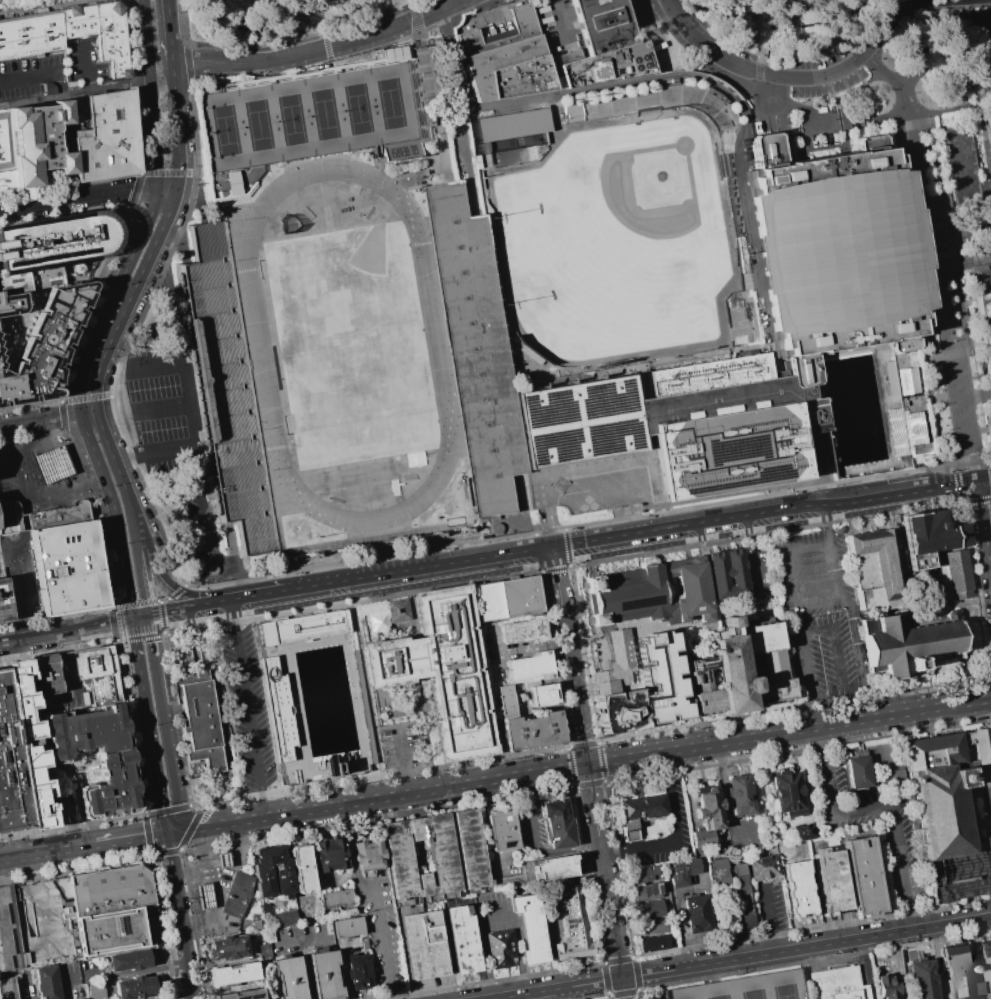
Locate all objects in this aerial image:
road: (921, 1)
road: (647, 3)
road: (907, 7)
road: (413, 9)
road: (427, 13)
road: (562, 20)
road: (885, 21)
road: (916, 21)
road: (169, 27)
building: (982, 30)
building: (100, 32)
road: (918, 34)
building: (30, 35)
building: (608, 44)
road: (286, 58)
building: (506, 60)
parking lot: (82, 62)
road: (86, 65)
parking lot: (815, 67)
road: (924, 67)
road: (159, 71)
road: (760, 72)
parking lot: (30, 78)
road: (38, 78)
road: (895, 80)
road: (774, 87)
road: (955, 88)
road: (73, 91)
road: (430, 93)
road: (150, 95)
road: (60, 98)
park: (389, 103)
building: (652, 105)
park: (357, 108)
road: (988, 108)
road: (760, 109)
road: (807, 109)
road: (61, 114)
park: (323, 114)
building: (417, 115)
road: (912, 115)
park: (290, 119)
building: (513, 124)
park: (257, 125)
parking lot: (812, 128)
road: (988, 128)
park: (224, 130)
road: (63, 138)
building: (104, 138)
building: (38, 143)
building: (6, 155)
road: (50, 156)
building: (475, 161)
road: (412, 171)
building: (968, 178)
building: (232, 183)
road: (51, 184)
road: (165, 192)
road: (77, 197)
road: (746, 233)
road: (964, 233)
road: (157, 238)
park: (617, 241)
rooftop solar panel: (83, 248)
rooftop solar panel: (90, 248)
building: (49, 250)
rooftop solar panel: (77, 250)
rooftop solar panel: (70, 251)
rooftop solar panel: (61, 252)
building: (836, 252)
rooftop solar panel: (52, 254)
rooftop solar panel: (37, 255)
rooftop solar panel: (46, 255)
rooftop solar panel: (30, 258)
rooftop solar panel: (22, 259)
rooftop solar panel: (15, 260)
rooftop solar panel: (7, 262)
road: (946, 299)
road: (111, 301)
building: (10, 304)
building: (983, 311)
building: (18, 327)
building: (44, 345)
track: (264, 345)
park: (351, 345)
building: (475, 345)
road: (773, 358)
building: (0, 364)
stadium: (348, 364)
building: (227, 389)
rooftop solar panel: (599, 403)
rooftop solar panel: (549, 411)
building: (888, 411)
road: (89, 413)
parking lot: (162, 414)
road: (40, 420)
building: (577, 420)
building: (730, 426)
road: (988, 429)
road: (973, 432)
rooftop solar panel: (601, 436)
rooftop solar panel: (749, 443)
rooftop solar panel: (559, 445)
rooftop solar panel: (722, 449)
road: (818, 461)
road: (117, 467)
road: (653, 469)
rooftop solar panel: (764, 470)
road: (906, 472)
road: (989, 472)
rooftop solar panel: (348, 473)
road: (197, 482)
road: (983, 482)
road: (956, 483)
rooftop solar panel: (714, 484)
traffic signals: (976, 484)
road: (106, 485)
rooftop solar panel: (396, 492)
parking lot: (594, 492)
road: (740, 492)
road: (868, 497)
road: (977, 500)
road: (649, 505)
building: (34, 512)
road: (708, 517)
road: (617, 518)
road: (825, 522)
road: (547, 524)
road: (983, 528)
road: (766, 533)
building: (930, 535)
road: (478, 557)
road: (549, 562)
building: (67, 566)
road: (141, 568)
road: (553, 568)
building: (875, 569)
road: (124, 570)
building: (212, 570)
building: (728, 572)
parking lot: (759, 572)
building: (956, 572)
parking lot: (813, 574)
road: (240, 580)
road: (172, 587)
road: (241, 589)
road: (977, 590)
road: (273, 592)
building: (650, 593)
road: (128, 598)
building: (508, 599)
building: (4, 601)
road: (215, 601)
road: (351, 601)
road: (800, 601)
road: (145, 602)
rooftop solar panel: (436, 602)
rooftop solar panel: (637, 602)
road: (167, 608)
building: (396, 611)
traffic signals: (149, 612)
road: (140, 613)
road: (232, 614)
traffic signals: (131, 615)
road: (55, 616)
road: (160, 616)
traffic signals: (117, 618)
road: (188, 618)
road: (91, 624)
rooftop solar panel: (316, 626)
traffic signals: (151, 627)
building: (301, 628)
traffic signals: (133, 630)
building: (524, 631)
road: (817, 631)
traffic signals: (119, 632)
road: (151, 633)
road: (85, 637)
road: (25, 639)
road: (122, 639)
building: (907, 645)
road: (57, 650)
road: (194, 651)
road: (858, 654)
rooftop solar panel: (423, 656)
parking lot: (823, 656)
rooftop solar panel: (387, 664)
building: (531, 666)
road: (139, 670)
building: (441, 670)
building: (741, 670)
building: (98, 673)
rooftop solar panel: (274, 673)
building: (638, 674)
building: (46, 676)
road: (365, 688)
building: (542, 693)
road: (575, 694)
road: (130, 695)
rooftop solar panel: (440, 703)
road: (246, 709)
rooftop solar panel: (276, 709)
parking lot: (247, 710)
building: (277, 711)
parking lot: (205, 721)
building: (527, 724)
building: (199, 728)
rooftop solar panel: (456, 732)
building: (30, 744)
road: (168, 745)
parking lot: (400, 747)
road: (403, 761)
building: (91, 763)
road: (591, 764)
traffic signals: (586, 765)
building: (10, 767)
building: (335, 768)
building: (859, 772)
building: (896, 774)
road: (156, 779)
road: (216, 784)
building: (787, 793)
building: (739, 797)
road: (262, 802)
road: (879, 808)
road: (220, 810)
road: (984, 811)
road: (528, 813)
building: (638, 813)
building: (948, 814)
building: (707, 815)
building: (557, 824)
parking lot: (871, 824)
road: (177, 830)
building: (502, 831)
building: (806, 831)
traffic signals: (164, 833)
road: (158, 834)
road: (674, 834)
traffic signals: (153, 835)
road: (124, 839)
rooftop solar panel: (508, 842)
road: (203, 844)
road: (566, 849)
road: (600, 849)
building: (470, 851)
road: (47, 852)
building: (330, 854)
road: (233, 856)
road: (223, 858)
building: (369, 858)
building: (399, 858)
road: (205, 860)
building: (223, 860)
road: (182, 864)
building: (763, 867)
building: (554, 868)
building: (301, 869)
building: (681, 871)
road: (206, 872)
building: (642, 873)
building: (719, 873)
road: (196, 874)
building: (863, 875)
building: (263, 880)
building: (831, 880)
building: (509, 883)
road: (224, 885)
building: (799, 887)
gas station: (224, 891)
building: (646, 891)
building: (742, 894)
building: (237, 895)
road: (210, 896)
road: (200, 897)
building: (204, 897)
road: (38, 898)
building: (336, 899)
building: (264, 908)
building: (648, 908)
building: (112, 910)
building: (696, 912)
road: (212, 913)
road: (611, 914)
road: (179, 915)
road: (165, 916)
road: (203, 917)
building: (283, 917)
road: (770, 921)
building: (571, 923)
building: (254, 924)
building: (651, 926)
building: (348, 927)
building: (530, 928)
road: (679, 928)
building: (7, 931)
building: (464, 939)
road: (381, 941)
building: (653, 942)
road: (298, 943)
building: (425, 945)
road: (486, 946)
road: (806, 946)
building: (989, 946)
building: (227, 948)
building: (261, 948)
building: (501, 948)
building: (128, 961)
building: (896, 962)
road: (867, 968)
road: (305, 971)
building: (358, 972)
building: (957, 972)
building: (232, 973)
building: (324, 975)
building: (289, 977)
building: (922, 979)
building: (46, 982)
building: (838, 984)
building: (985, 984)
building: (135, 987)
road: (551, 987)
road: (623, 987)
building: (888, 987)
building: (7, 988)
building: (746, 988)
parking lot: (746, 988)
building: (95, 991)
park: (784, 991)
park: (752, 994)
building: (241, 995)
rooftop solar panel: (252, 996)
park: (718, 997)
building: (82, 998)
rooftop solar panel: (237, 998)
building: (990, 998)

